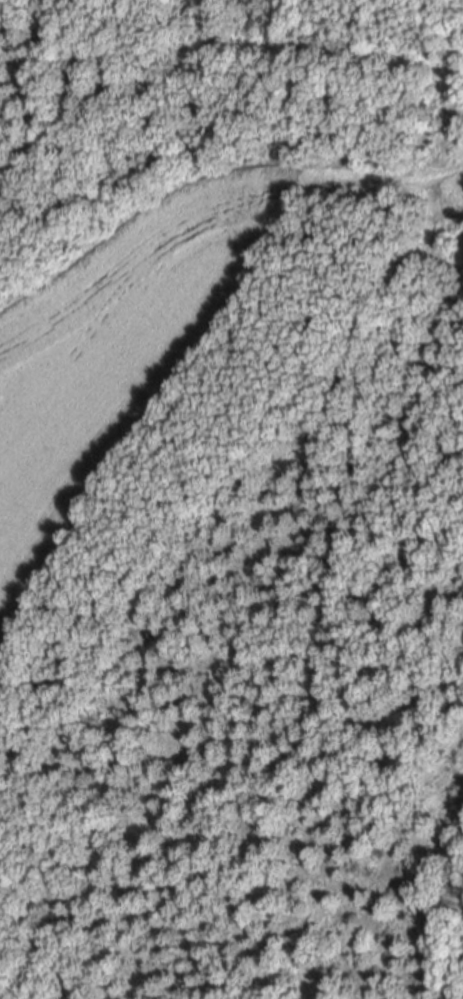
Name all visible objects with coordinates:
crop: (110, 350)

